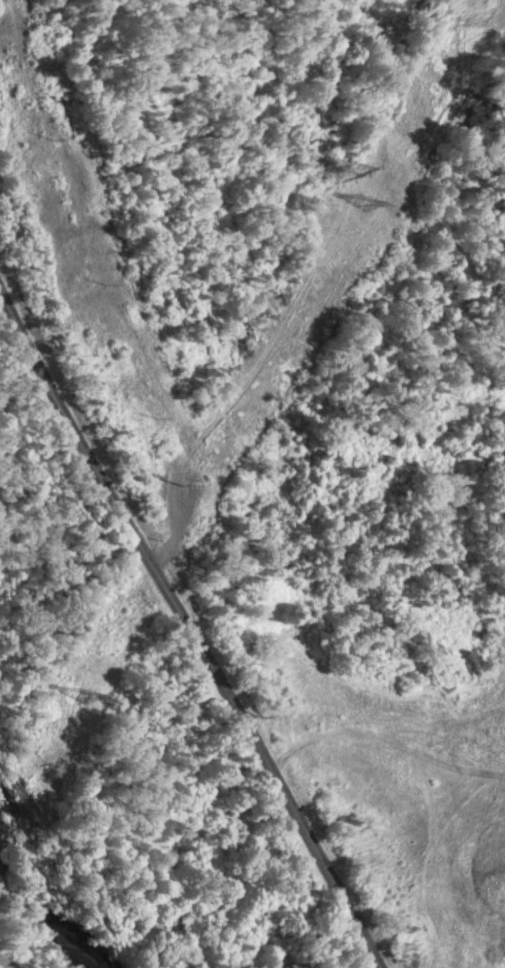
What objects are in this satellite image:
power tower: (363, 198)
road: (190, 626)
power tower: (79, 692)

